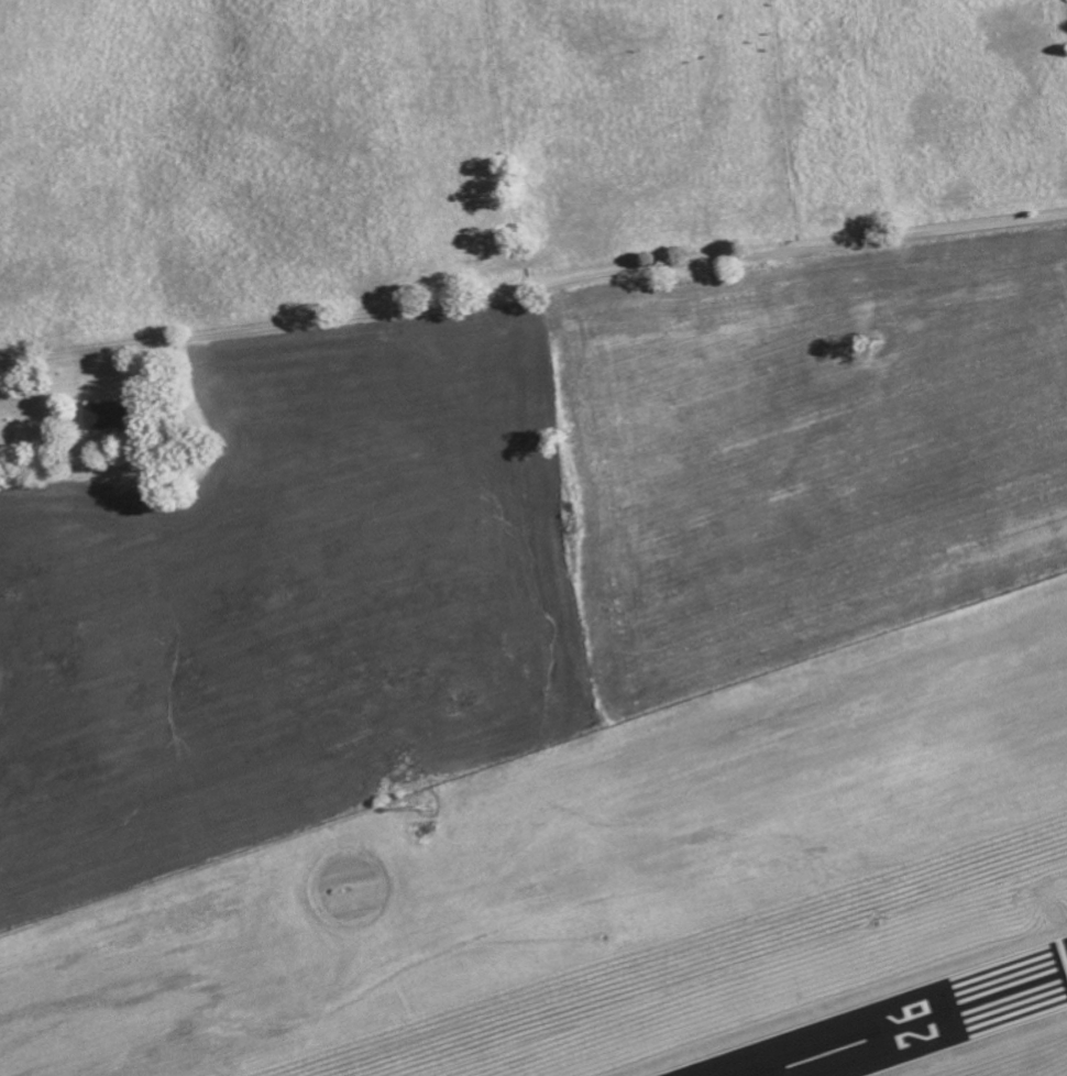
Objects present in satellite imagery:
building: (117, 415)
airport runway: (913, 1023)

